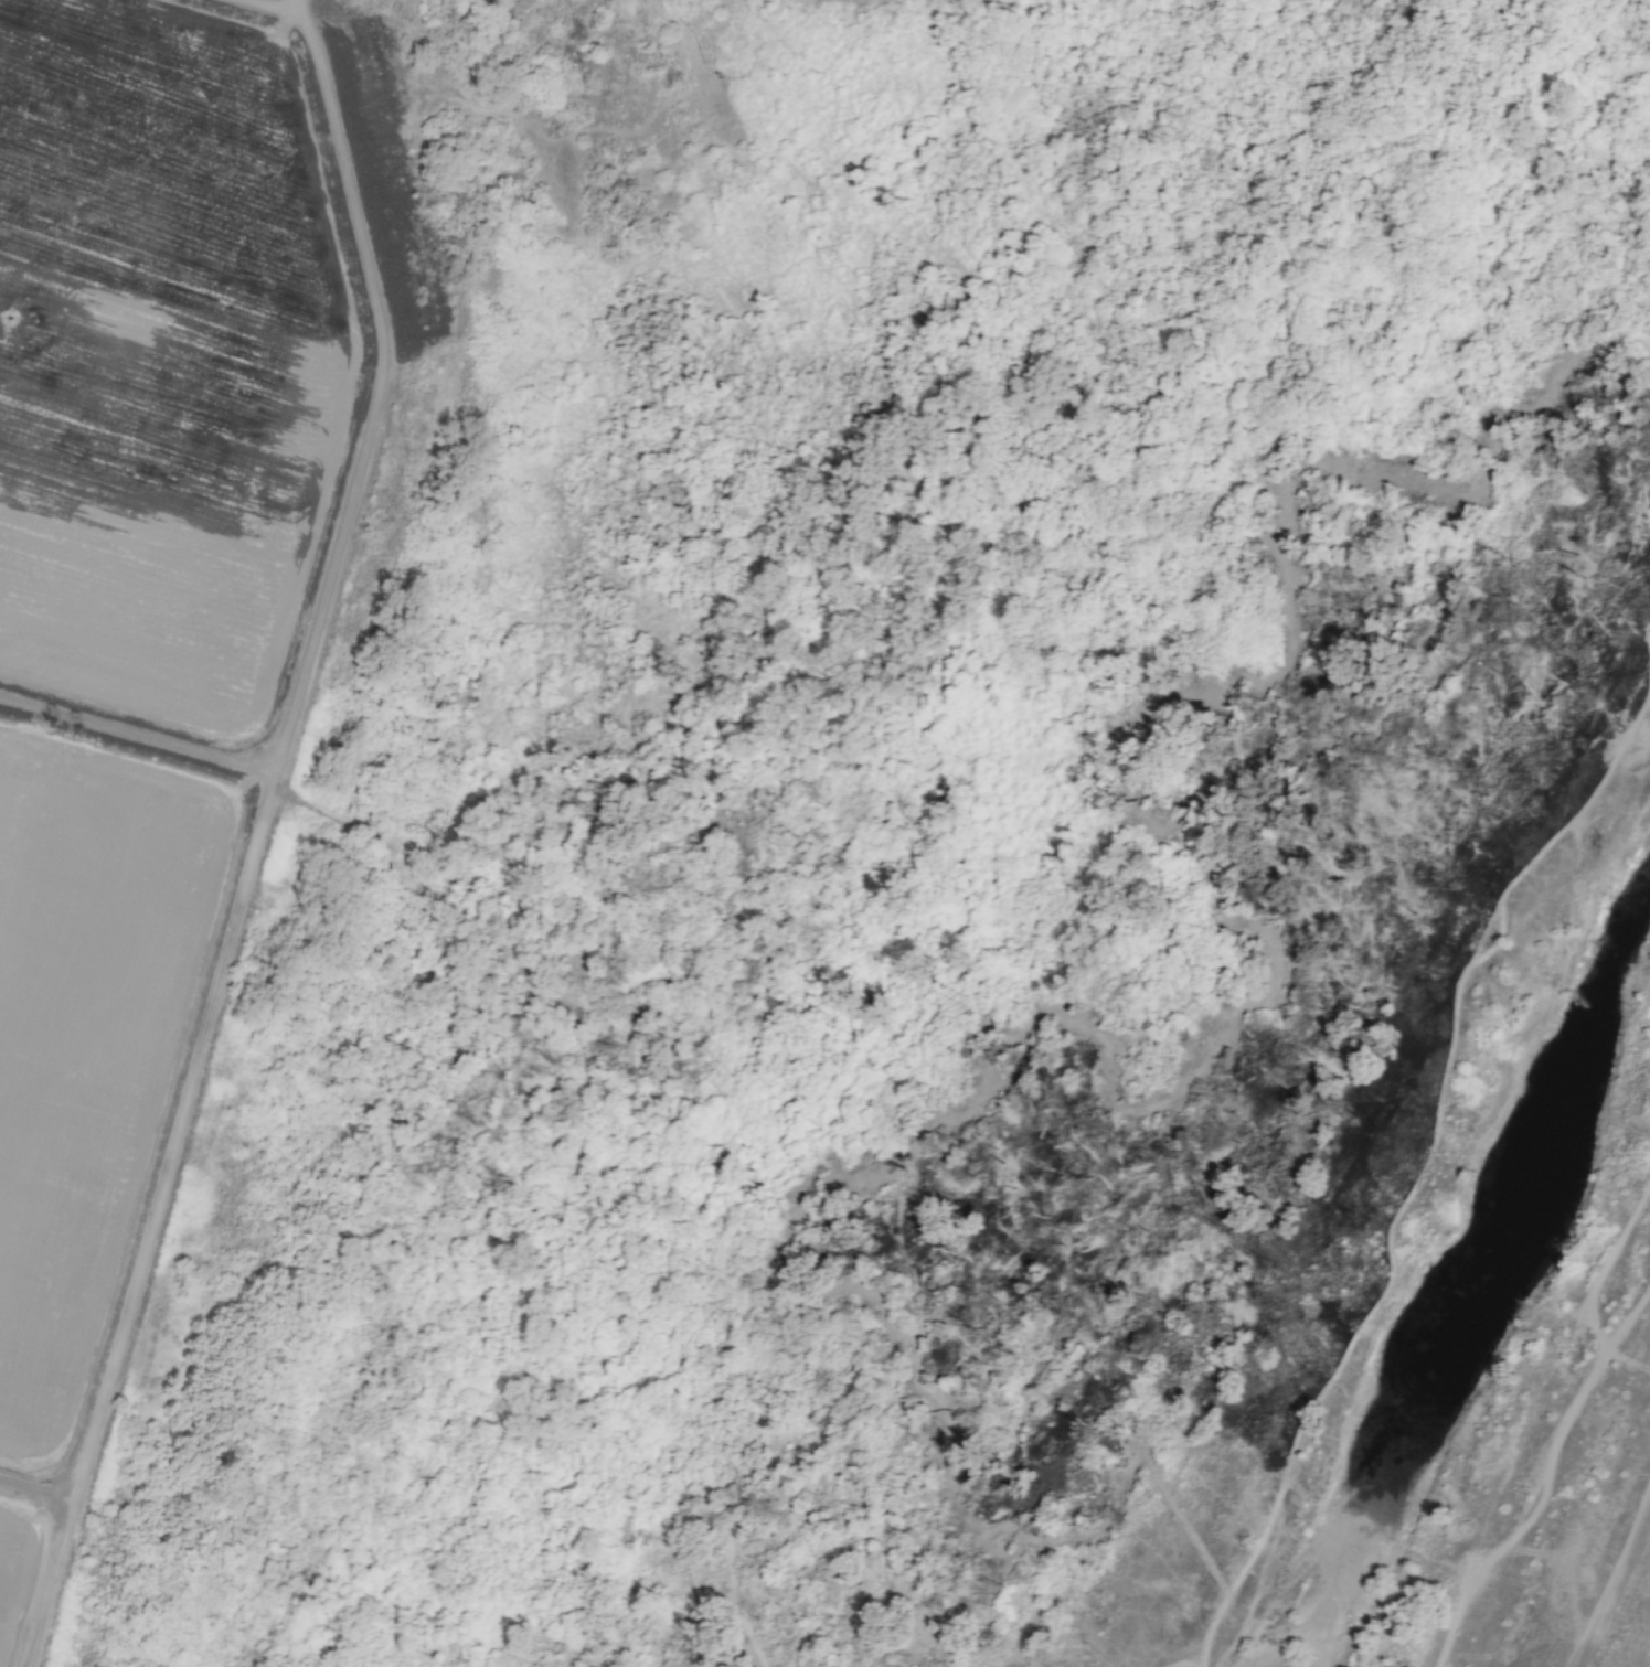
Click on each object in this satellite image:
crop: (147, 670)
road: (1541, 1447)

